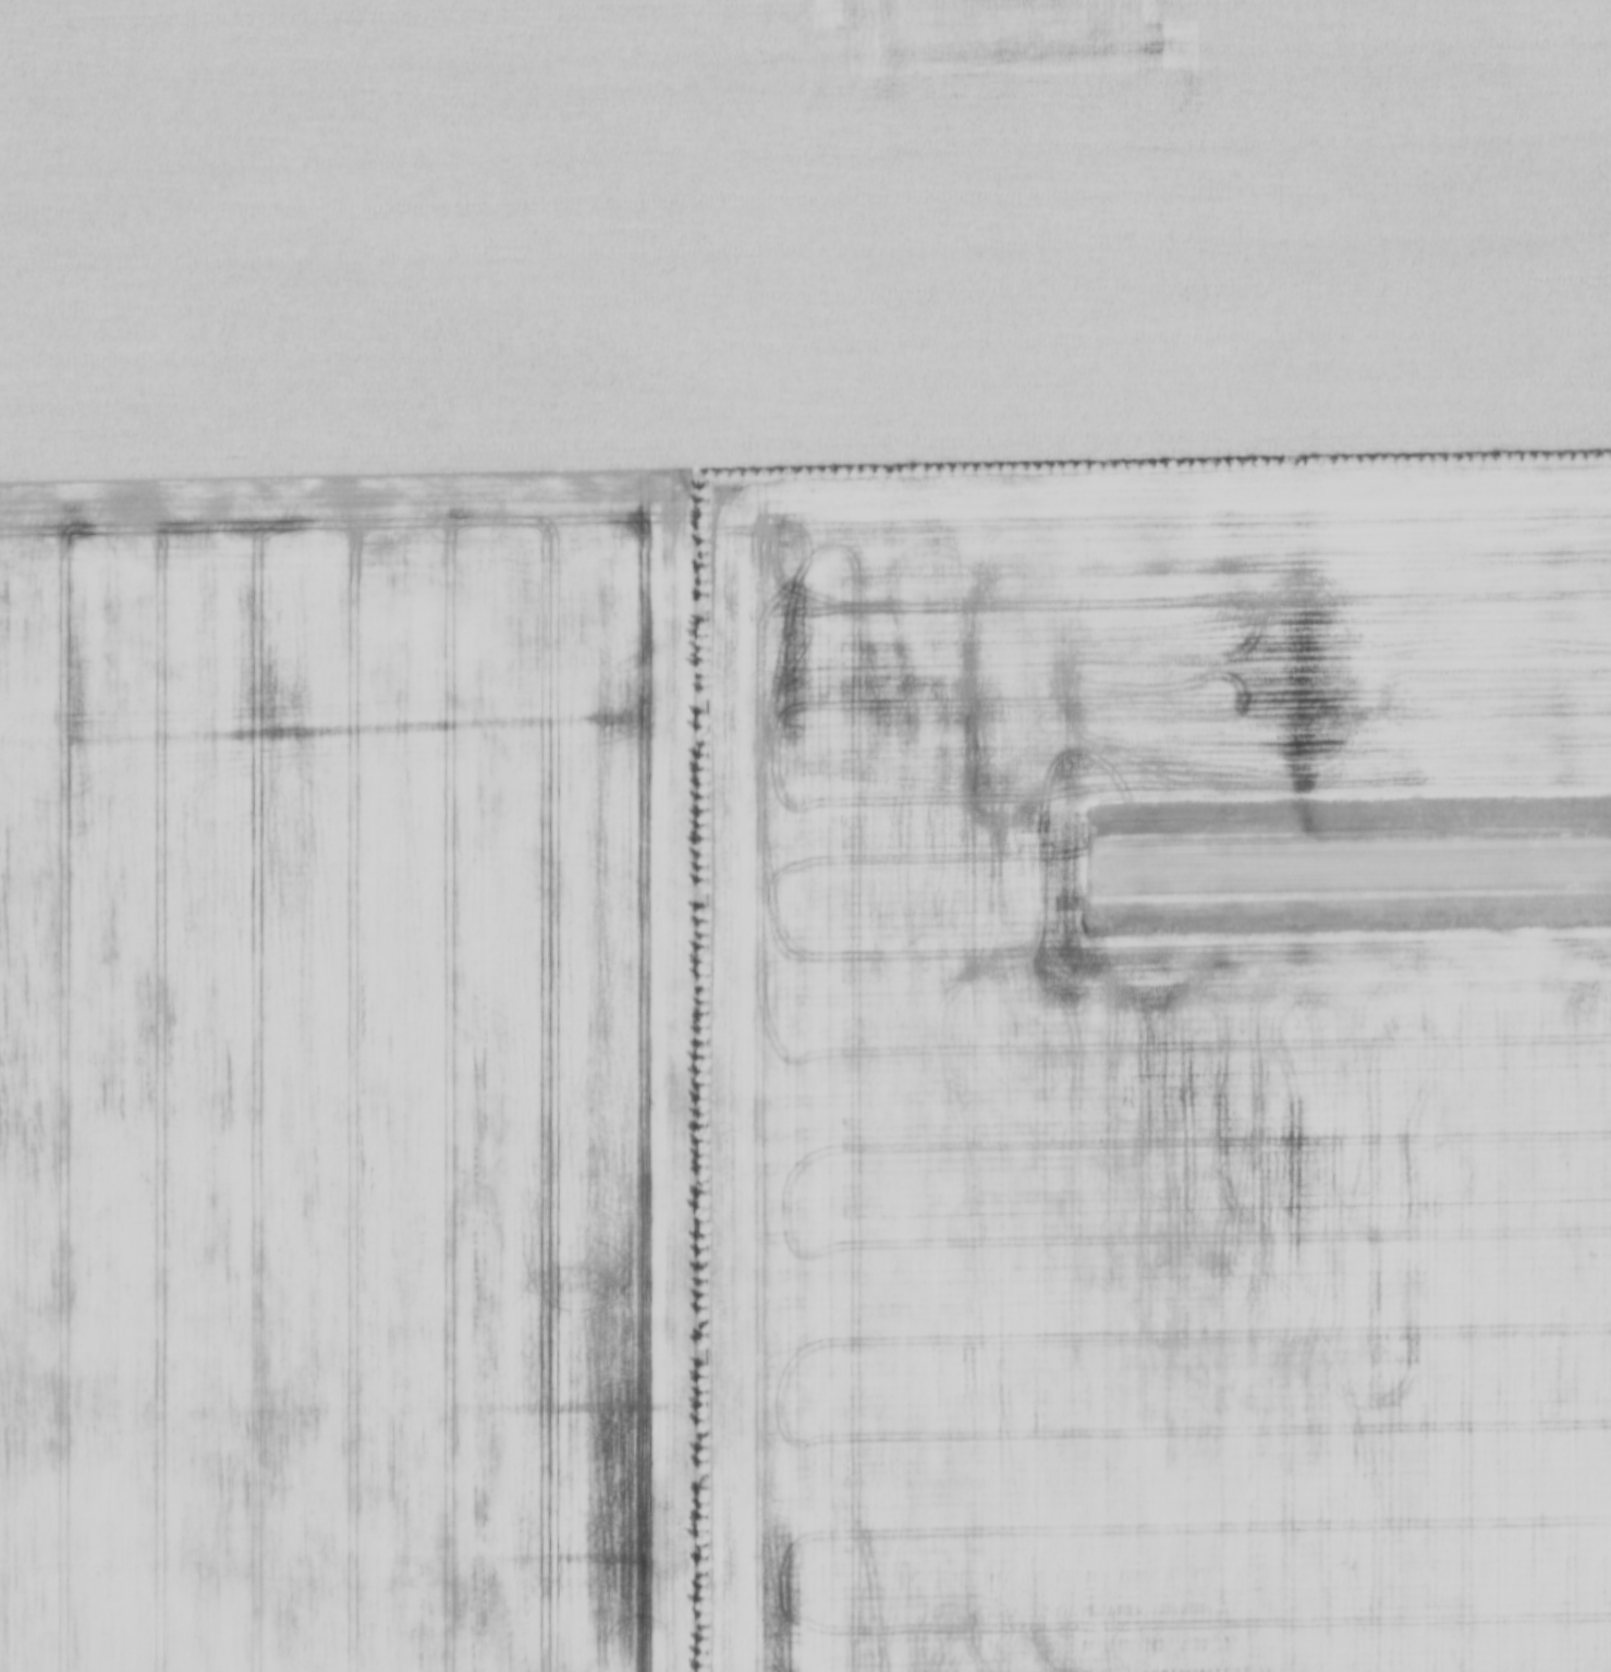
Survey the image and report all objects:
airport runway: (1357, 863)

